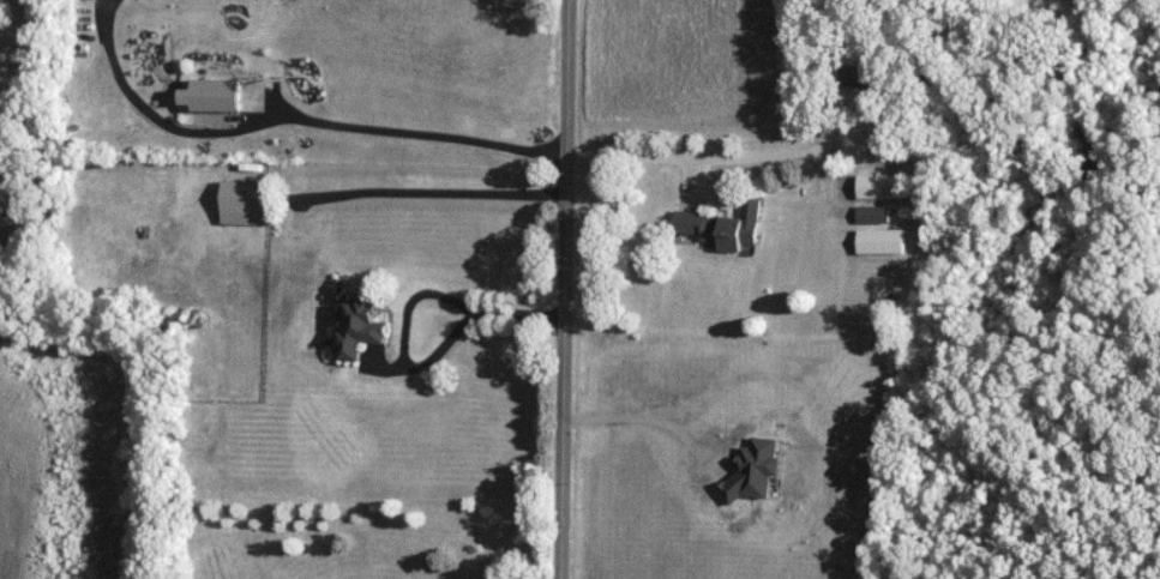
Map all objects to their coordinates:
building: (860, 74)
building: (215, 95)
road: (291, 120)
road: (714, 157)
building: (885, 186)
road: (423, 192)
building: (247, 203)
building: (873, 213)
building: (723, 225)
building: (882, 241)
road: (564, 289)
road: (517, 315)
building: (360, 325)
road: (401, 344)
road: (643, 414)

